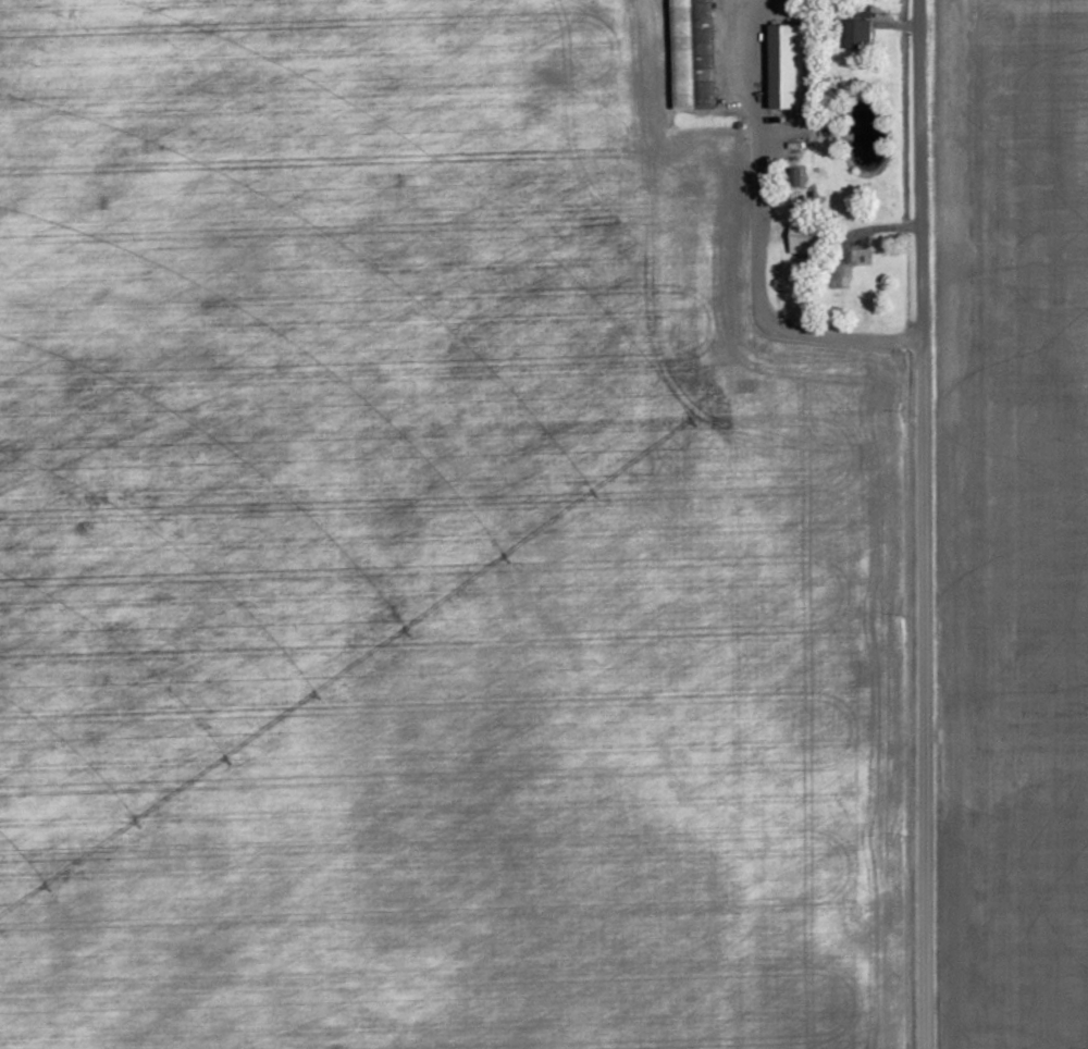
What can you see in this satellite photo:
building: (865, 11)
building: (860, 34)
building: (695, 55)
building: (788, 67)
building: (799, 180)
building: (780, 233)
building: (808, 238)
building: (862, 257)
building: (858, 282)
road: (922, 524)

